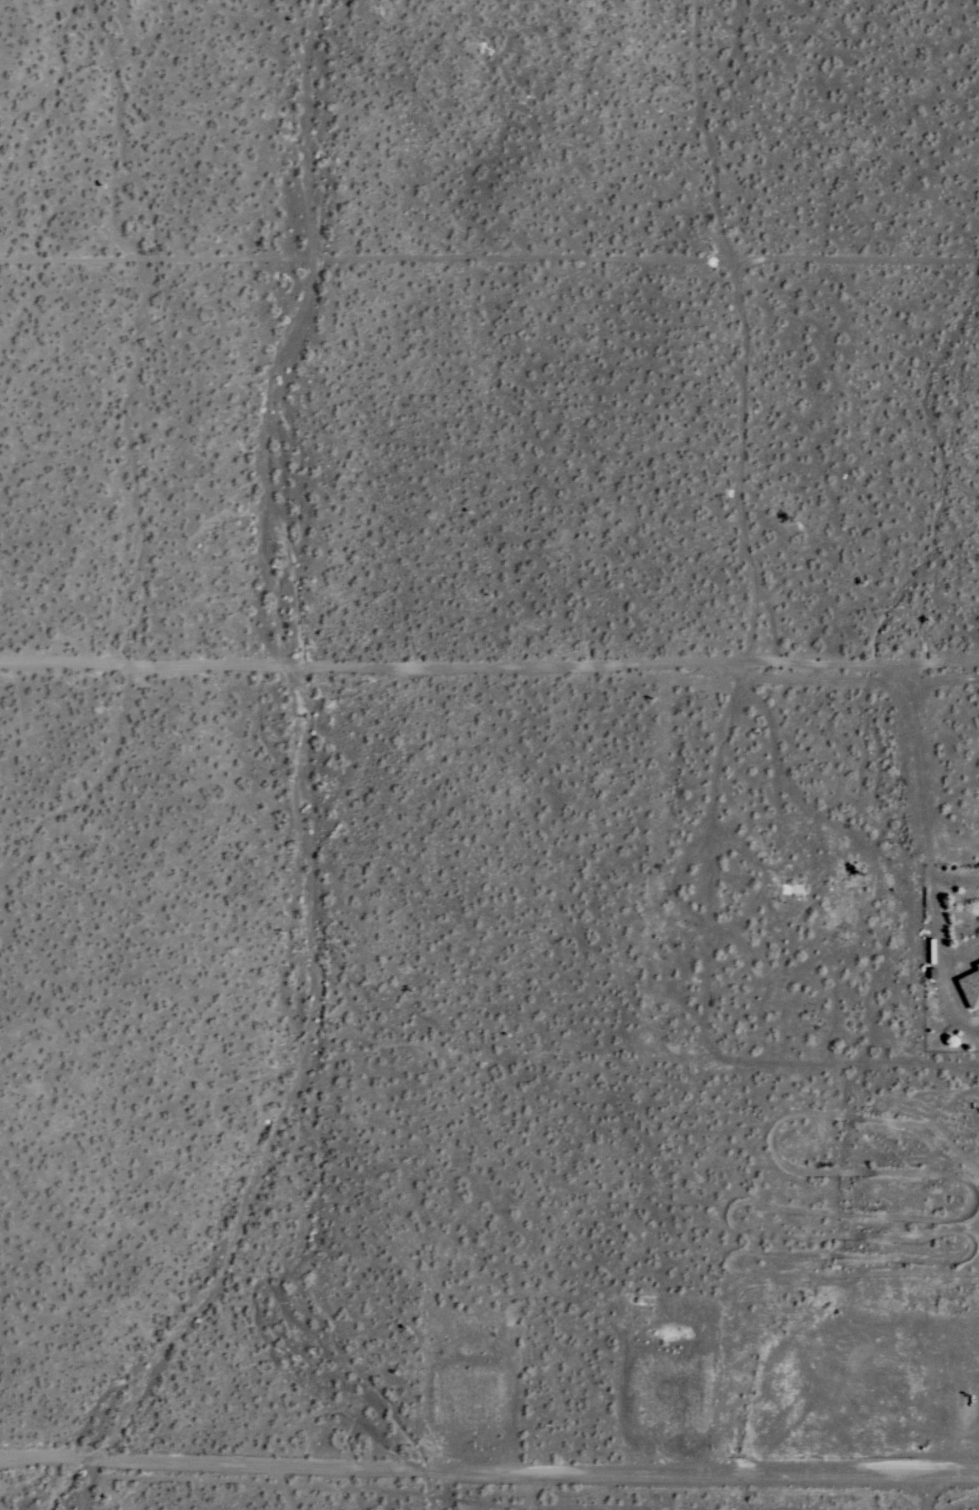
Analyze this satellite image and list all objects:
road: (489, 258)
road: (489, 663)
road: (927, 851)
road: (489, 1477)
road: (304, 1490)

